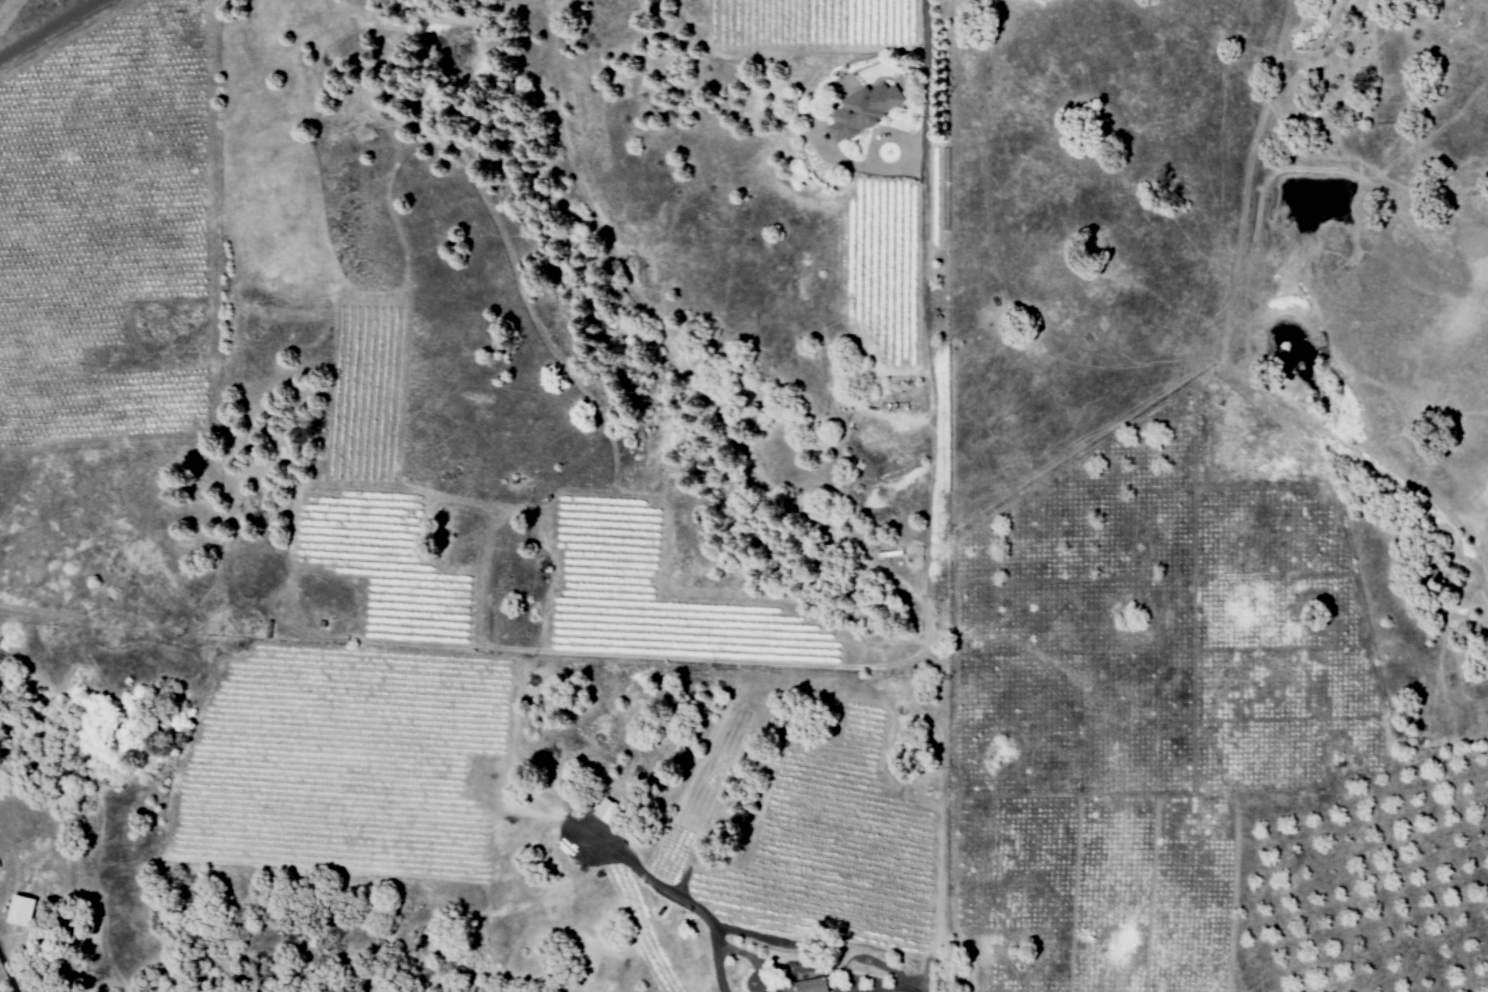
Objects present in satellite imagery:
road: (46, 26)
road: (928, 86)
building: (869, 109)
crop: (110, 227)
road: (929, 361)
building: (611, 808)
road: (684, 897)
building: (25, 908)
road: (8, 974)
building: (819, 984)
building: (772, 990)
building: (783, 990)

